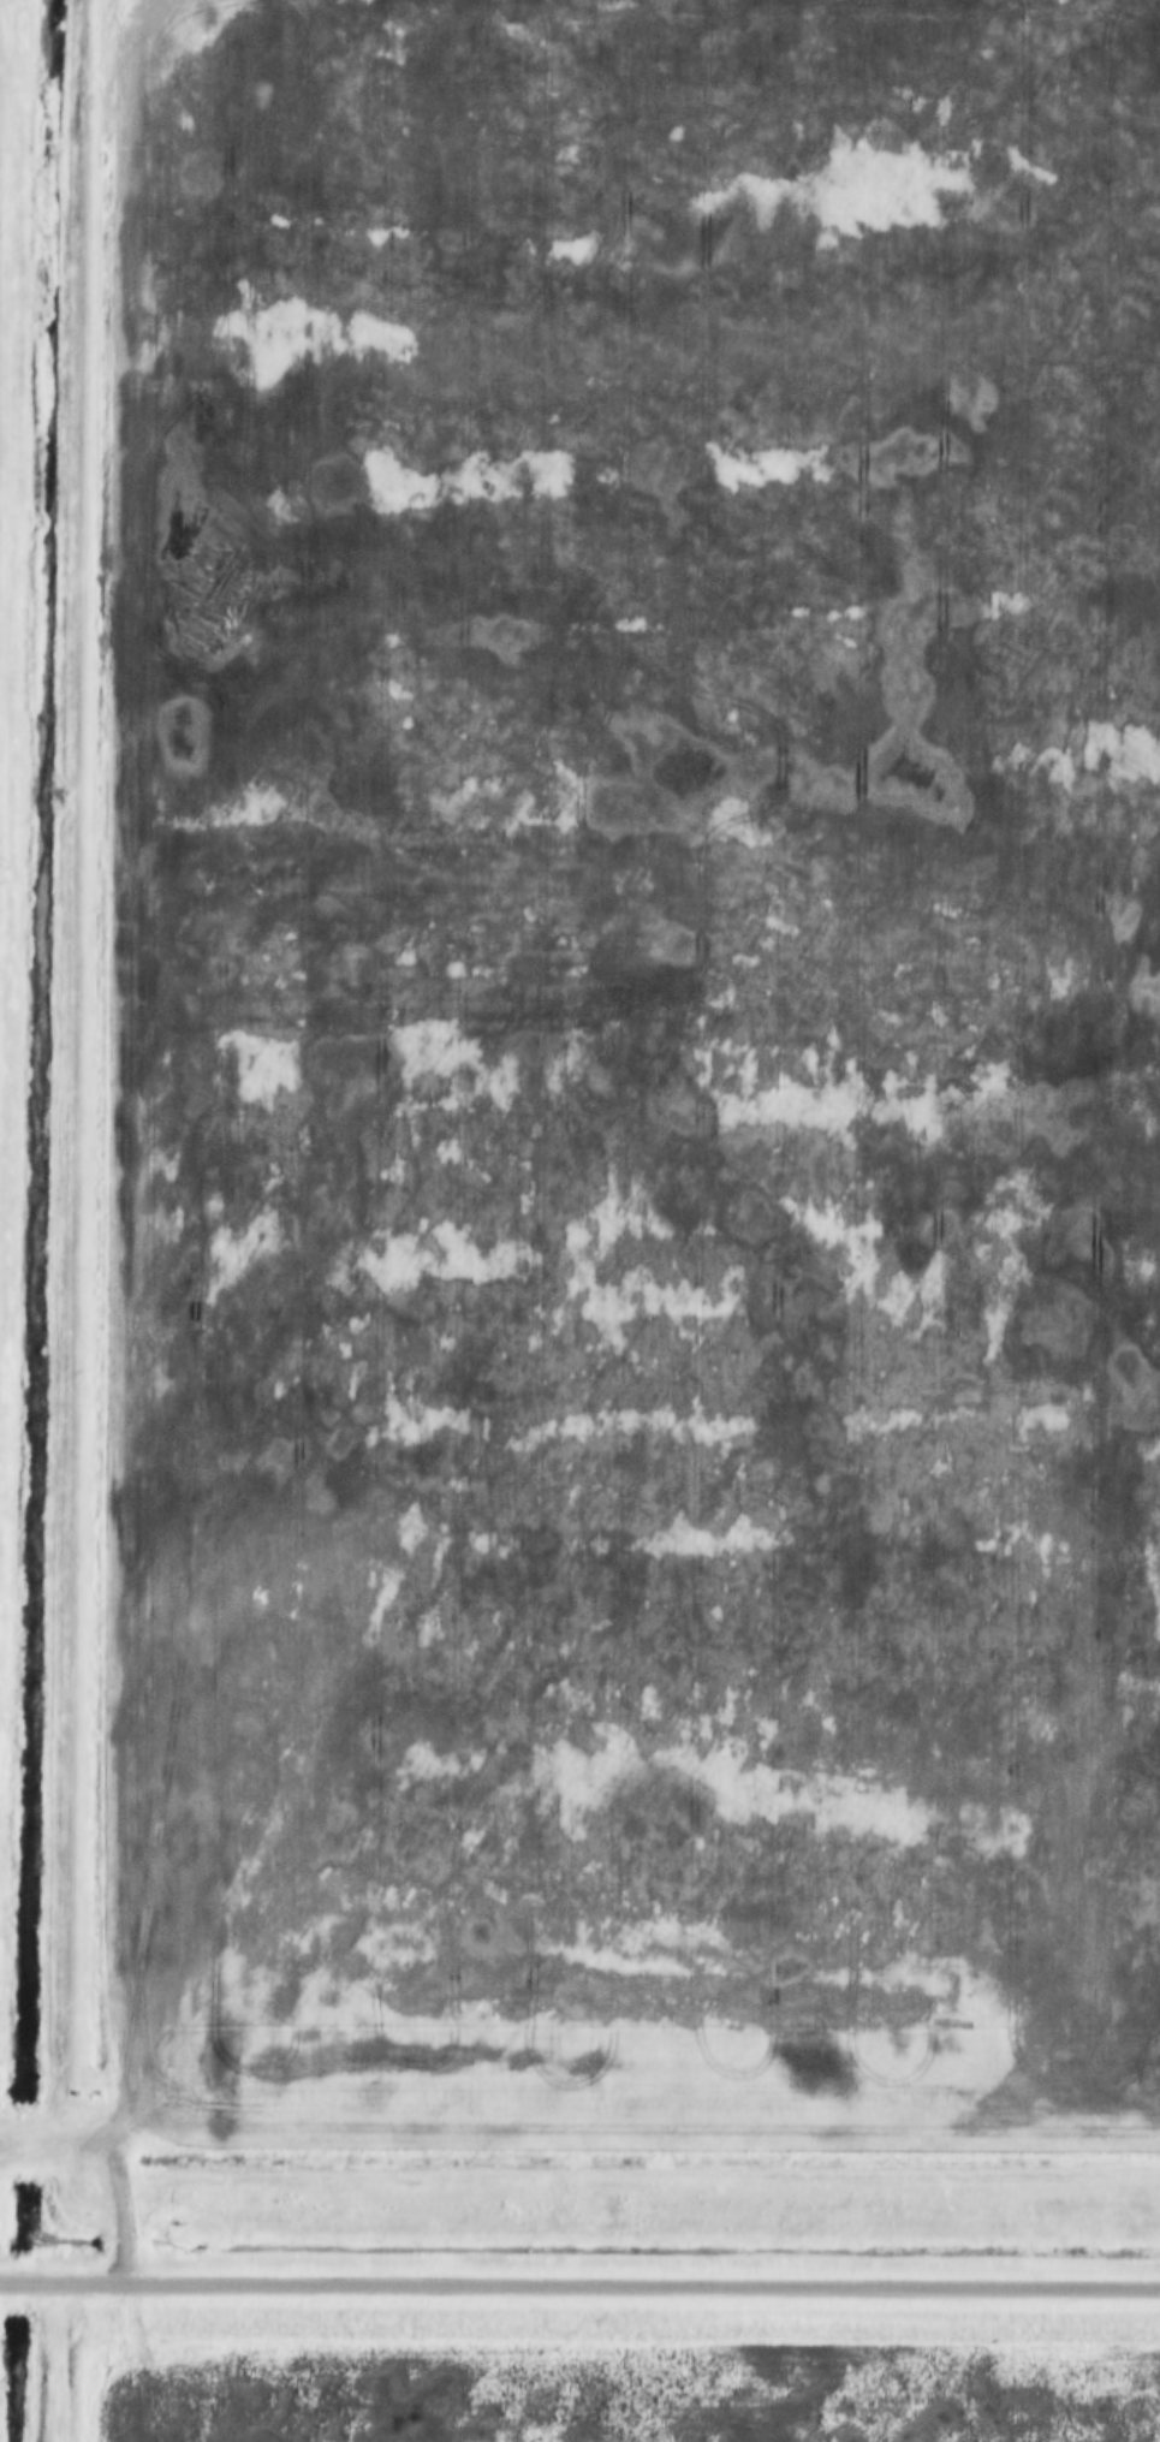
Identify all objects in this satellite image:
road: (579, 2289)

